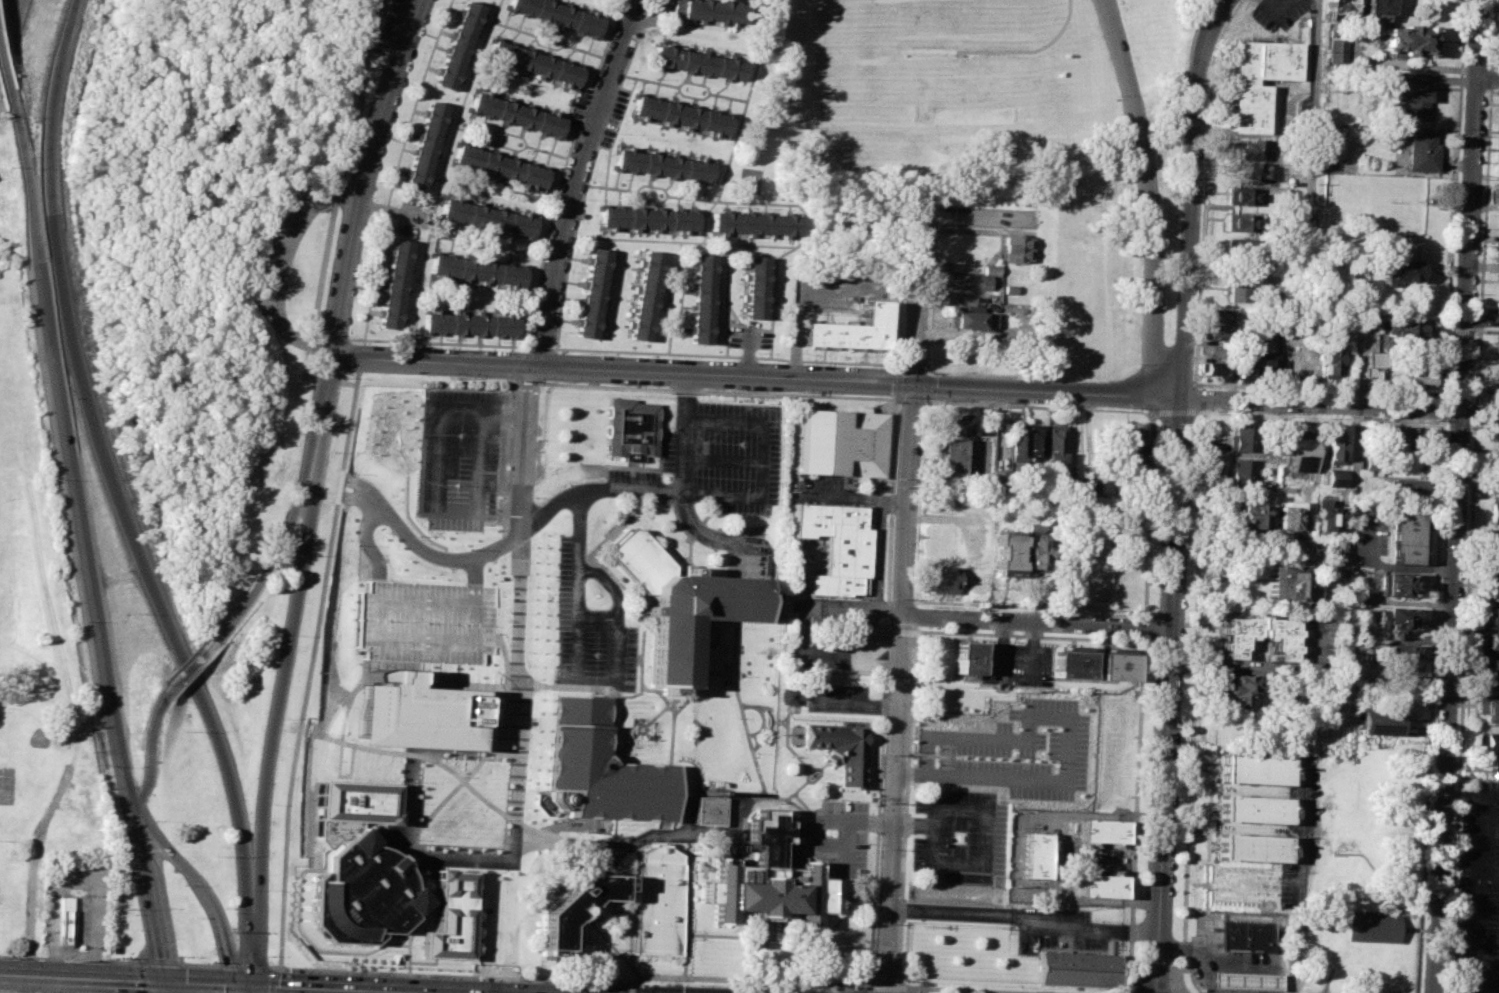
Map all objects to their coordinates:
road: (1274, 5)
building: (712, 9)
building: (1379, 9)
building: (1341, 10)
parking lot: (1280, 12)
building: (559, 14)
road: (8, 21)
road: (1490, 34)
building: (1404, 39)
building: (459, 44)
building: (1337, 49)
building: (535, 62)
building: (700, 62)
road: (1494, 66)
road: (3, 69)
road: (1488, 78)
road: (1489, 78)
building: (1259, 80)
road: (1494, 90)
building: (1410, 96)
road: (1314, 104)
building: (518, 114)
building: (682, 114)
park: (1005, 140)
building: (427, 146)
building: (1249, 148)
building: (1422, 150)
building: (664, 164)
building: (502, 166)
building: (1247, 170)
road: (442, 176)
road: (23, 177)
road: (578, 180)
road: (1204, 190)
road: (1150, 195)
building: (1244, 195)
road: (1194, 196)
road: (1483, 196)
road: (359, 199)
road: (652, 199)
road: (1453, 199)
building: (487, 217)
building: (649, 218)
road: (981, 218)
building: (1241, 221)
building: (756, 223)
road: (804, 228)
building: (1303, 230)
building: (1241, 245)
building: (1021, 248)
building: (1498, 254)
road: (276, 263)
building: (480, 269)
building: (1406, 269)
building: (396, 282)
building: (972, 282)
building: (1497, 284)
building: (757, 287)
building: (1238, 289)
building: (594, 292)
building: (647, 294)
building: (703, 298)
road: (918, 298)
building: (965, 301)
road: (1489, 302)
building: (1218, 315)
road: (1478, 315)
road: (1482, 315)
building: (975, 320)
building: (469, 323)
building: (1369, 323)
building: (1406, 328)
road: (1462, 329)
road: (1485, 329)
road: (1450, 330)
building: (857, 331)
building: (1221, 333)
building: (1495, 344)
road: (749, 350)
building: (1217, 350)
building: (1329, 358)
building: (1246, 363)
building: (1267, 364)
building: (1371, 366)
building: (1219, 368)
road: (623, 369)
road: (514, 371)
road: (977, 374)
building: (1414, 377)
park: (13, 378)
park: (206, 381)
road: (536, 382)
traffic signals: (914, 384)
road: (928, 387)
road: (720, 389)
road: (1320, 389)
road: (1046, 390)
building: (1493, 395)
road: (1200, 398)
road: (1320, 402)
road: (1444, 407)
road: (1176, 412)
road: (1205, 412)
road: (1151, 413)
building: (957, 423)
building: (631, 427)
building: (1493, 427)
road: (1473, 431)
road: (441, 432)
building: (1407, 436)
building: (1246, 437)
building: (1017, 440)
building: (1035, 440)
building: (842, 442)
building: (1054, 442)
building: (1131, 448)
building: (1332, 448)
building: (1495, 449)
building: (1299, 450)
road: (103, 452)
road: (762, 458)
road: (724, 459)
building: (952, 459)
park: (1, 469)
building: (1245, 471)
building: (1494, 475)
parking lot: (457, 477)
building: (1335, 477)
road: (685, 483)
building: (1087, 486)
building: (1401, 486)
road: (1459, 496)
road: (852, 497)
road: (672, 502)
road: (919, 502)
building: (1494, 511)
building: (1289, 512)
building: (1325, 513)
road: (1148, 515)
building: (1253, 517)
road: (940, 518)
road: (287, 521)
building: (1033, 528)
road: (577, 529)
road: (694, 532)
road: (83, 533)
building: (1404, 534)
road: (1483, 536)
road: (1468, 542)
building: (835, 543)
road: (1478, 544)
building: (1337, 548)
road: (1483, 548)
road: (1255, 550)
building: (1032, 552)
building: (1005, 554)
road: (875, 555)
parking lot: (571, 558)
road: (679, 558)
building: (1491, 564)
building: (941, 579)
road: (618, 582)
building: (1293, 582)
road: (1199, 584)
building: (1400, 584)
building: (1489, 590)
road: (615, 599)
road: (518, 602)
building: (680, 603)
road: (500, 609)
road: (854, 610)
road: (887, 612)
road: (1144, 614)
road: (913, 615)
building: (1491, 615)
building: (1391, 619)
road: (1037, 620)
park: (1, 622)
road: (1143, 626)
road: (1027, 635)
building: (1238, 637)
building: (1488, 642)
road: (796, 643)
road: (285, 646)
road: (573, 648)
road: (614, 649)
building: (1402, 655)
road: (880, 657)
building: (969, 657)
road: (196, 658)
road: (310, 661)
building: (1073, 664)
road: (1263, 665)
building: (1117, 666)
road: (711, 671)
road: (1015, 672)
building: (1349, 672)
building: (1489, 672)
park: (44, 679)
building: (1240, 688)
road: (897, 689)
road: (630, 694)
building: (787, 695)
road: (1170, 695)
parking lot: (838, 697)
road: (1430, 705)
road: (678, 706)
road: (667, 707)
building: (1487, 710)
building: (414, 712)
road: (786, 712)
road: (743, 713)
road: (763, 715)
building: (1380, 716)
road: (650, 718)
road: (770, 722)
road: (670, 731)
building: (1486, 743)
road: (150, 748)
building: (840, 749)
road: (803, 765)
building: (600, 767)
road: (817, 767)
building: (1256, 768)
road: (1457, 770)
road: (816, 776)
building: (357, 799)
road: (801, 800)
road: (796, 804)
road: (904, 805)
building: (1255, 807)
building: (709, 809)
road: (1481, 811)
road: (1134, 814)
road: (442, 817)
road: (506, 823)
building: (1103, 829)
parking lot: (835, 832)
road: (522, 833)
parking lot: (958, 836)
road: (875, 837)
building: (1253, 846)
road: (618, 847)
building: (1037, 854)
road: (1468, 860)
road: (974, 863)
road: (1296, 875)
building: (765, 878)
road: (1488, 880)
road: (687, 883)
building: (1101, 885)
road: (148, 889)
parking lot: (1478, 892)
road: (203, 893)
building: (364, 893)
road: (434, 901)
building: (657, 901)
road: (631, 904)
building: (577, 905)
road: (609, 912)
road: (1023, 915)
road: (1241, 915)
building: (452, 917)
building: (62, 920)
parking lot: (1057, 927)
building: (1370, 928)
road: (614, 931)
building: (1245, 934)
road: (252, 935)
road: (785, 937)
road: (1474, 938)
flagpole: (844, 948)
road: (1182, 948)
traffic signals: (226, 949)
road: (322, 952)
road: (684, 955)
road: (759, 956)
traffic signals: (161, 957)
road: (424, 961)
road: (258, 966)
building: (1077, 969)
road: (82, 975)
traffic signals: (136, 978)
road: (580, 979)
road: (208, 981)
building: (1245, 981)
gas station: (1245, 981)
road: (883, 984)
road: (175, 985)
traffic signals: (278, 985)
road: (166, 986)
road: (630, 987)
road: (251, 988)
road: (345, 988)
road: (843, 988)
road: (966, 989)
road: (375, 991)
road: (15, 992)

